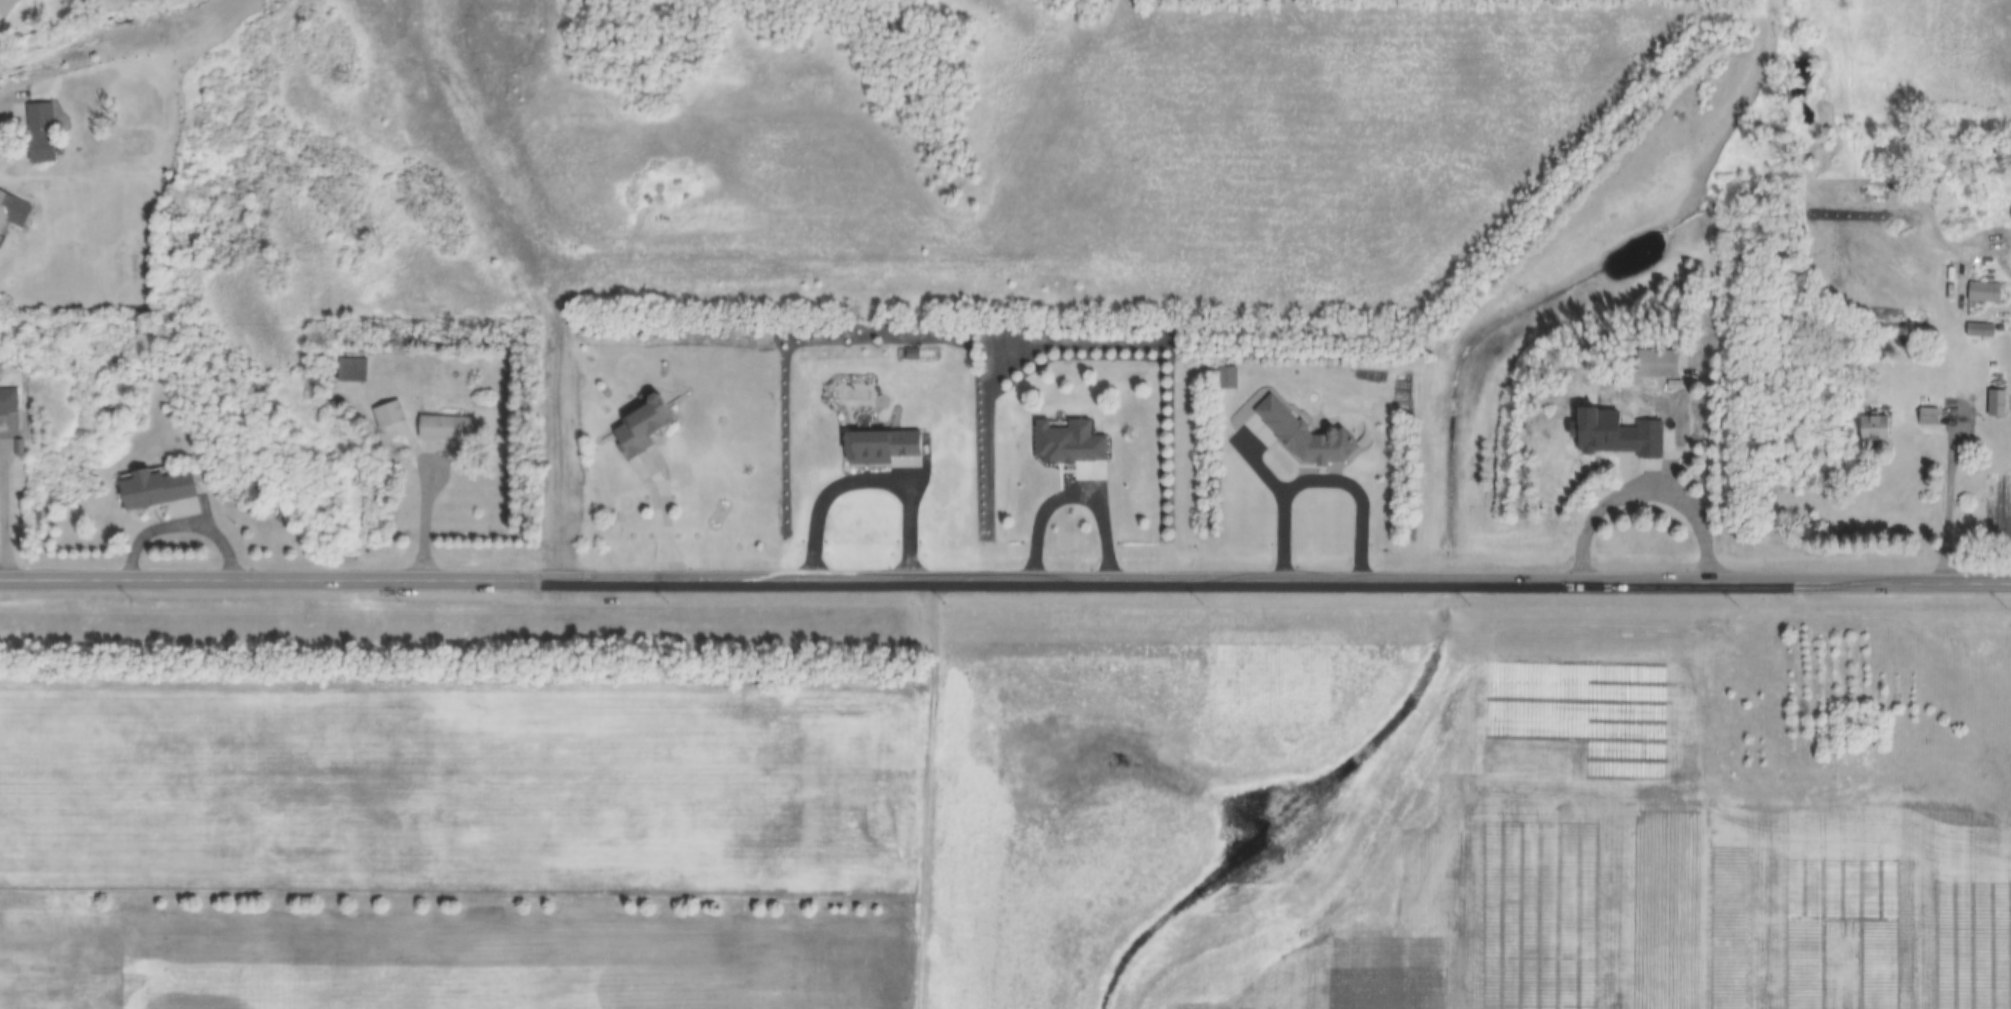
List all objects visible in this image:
building: (3, 5)
river: (82, 40)
road: (15, 90)
building: (37, 133)
building: (4, 206)
building: (1984, 293)
building: (1981, 331)
building: (339, 359)
building: (1654, 365)
building: (1227, 378)
building: (6, 402)
building: (1996, 404)
building: (387, 415)
building: (1927, 418)
road: (1234, 419)
building: (640, 425)
building: (444, 429)
building: (1872, 430)
building: (1657, 434)
building: (1300, 437)
building: (1067, 443)
building: (877, 448)
road: (871, 470)
road: (1326, 470)
road: (1638, 481)
road: (15, 485)
road: (1078, 486)
road: (1955, 487)
building: (150, 489)
road: (428, 491)
road: (665, 501)
road: (185, 521)
road: (1005, 579)
road: (1689, 916)

